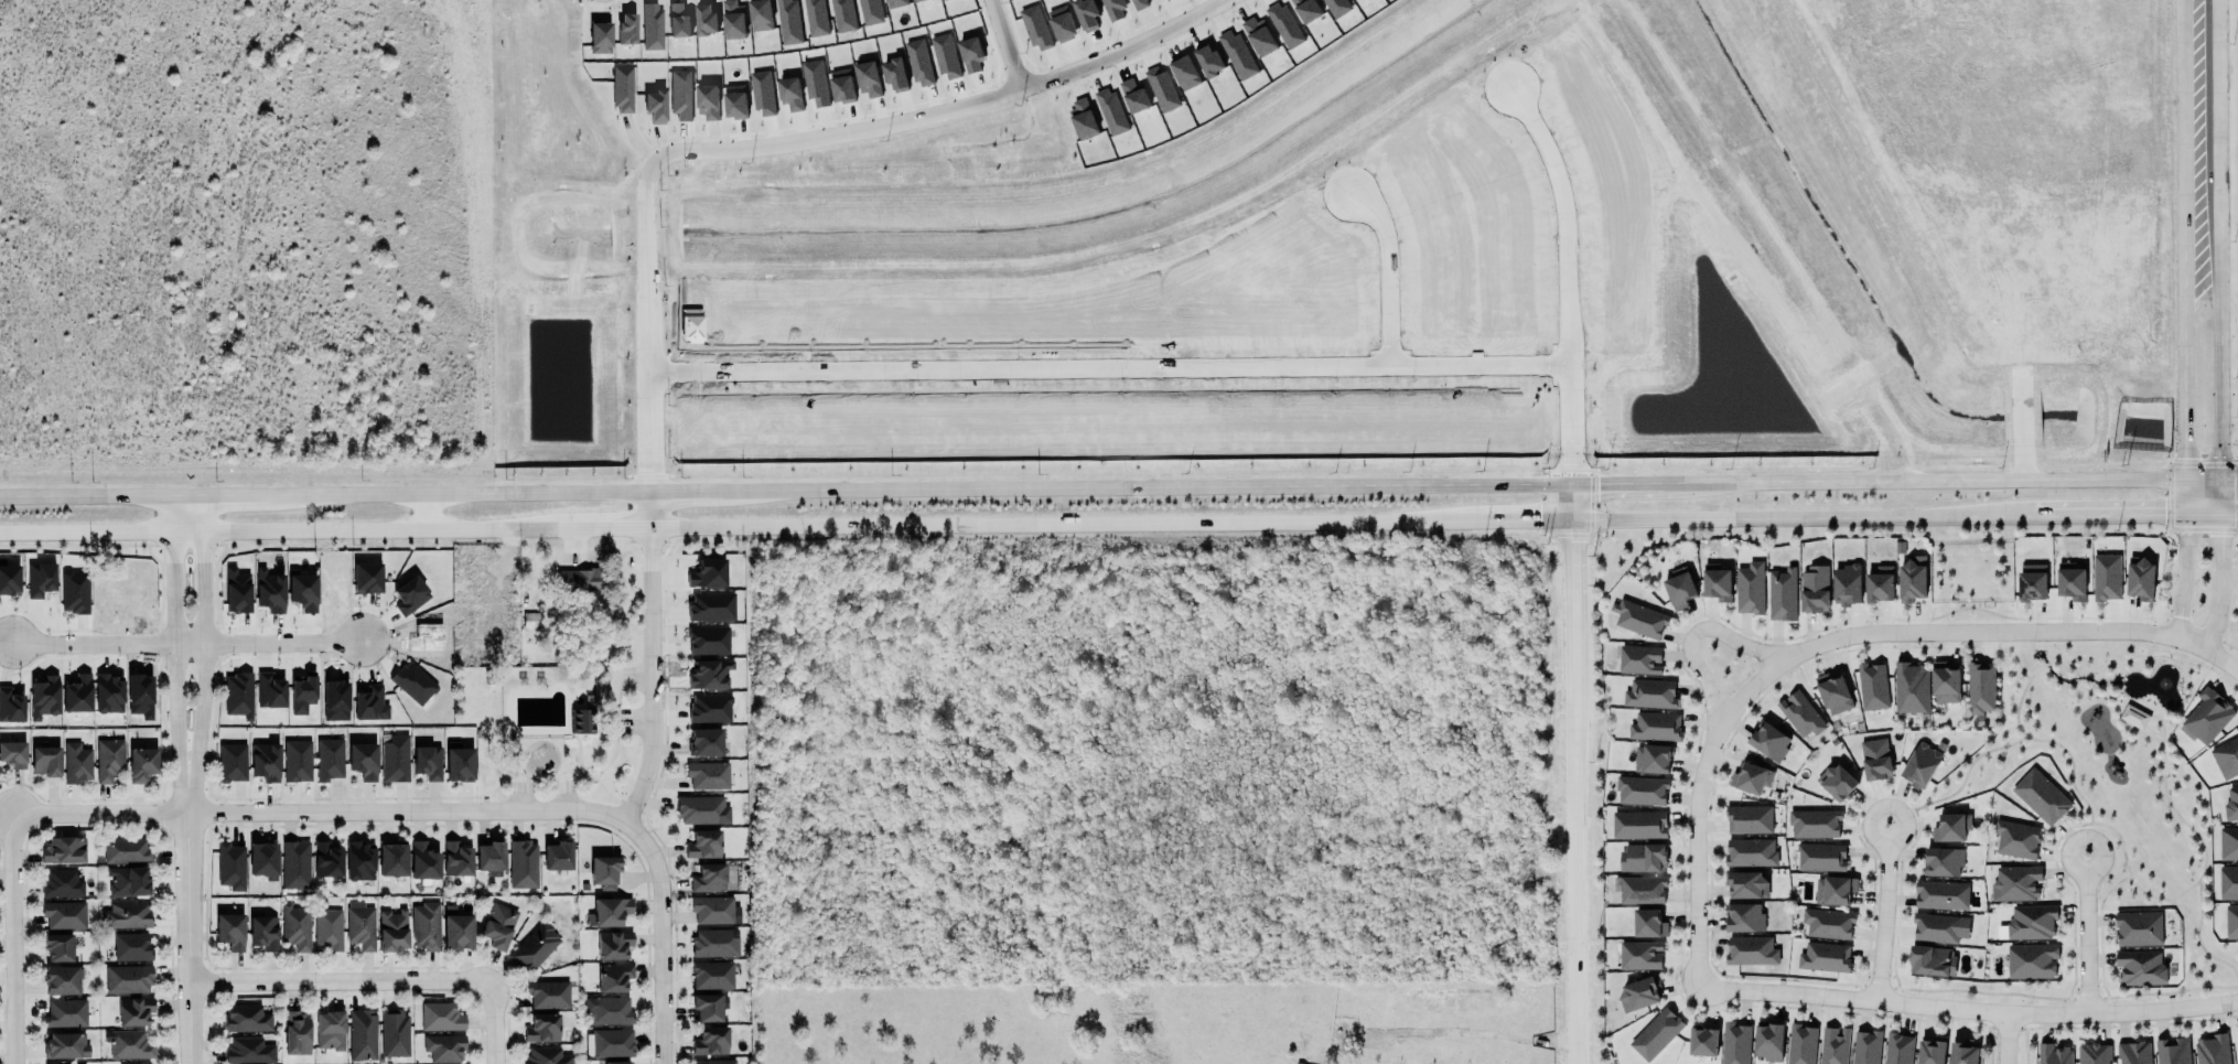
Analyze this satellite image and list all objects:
building: (918, 0)
building: (944, 0)
building: (895, 3)
building: (1140, 4)
building: (1337, 7)
building: (1115, 8)
building: (1306, 10)
building: (870, 12)
building: (761, 14)
building: (1086, 14)
building: (843, 15)
building: (816, 18)
building: (706, 19)
building: (734, 20)
building: (678, 21)
building: (788, 22)
building: (1063, 23)
building: (1285, 25)
building: (652, 26)
building: (627, 29)
building: (1036, 29)
building: (1259, 36)
building: (600, 37)
road: (1001, 45)
building: (971, 54)
building: (1237, 55)
building: (946, 56)
building: (1209, 62)
building: (919, 63)
building: (1185, 73)
building: (895, 75)
building: (868, 79)
building: (815, 83)
building: (842, 85)
building: (623, 89)
building: (1162, 89)
building: (763, 93)
building: (790, 94)
building: (680, 95)
building: (1134, 97)
building: (708, 101)
building: (735, 101)
building: (655, 106)
building: (1111, 111)
building: (1083, 119)
road: (2202, 135)
road: (783, 144)
road: (1382, 267)
road: (1564, 277)
road: (1107, 365)
road: (2184, 372)
road: (2220, 388)
road: (2230, 479)
road: (2204, 480)
road: (1925, 481)
road: (1616, 483)
road: (1145, 486)
road: (688, 490)
road: (462, 491)
road: (85, 493)
road: (184, 493)
road: (236, 493)
road: (2185, 495)
road: (1568, 501)
road: (653, 507)
road: (2204, 512)
road: (2130, 513)
road: (2230, 513)
road: (2055, 514)
road: (1800, 516)
road: (1527, 518)
road: (1069, 523)
road: (604, 526)
road: (2202, 526)
road: (2162, 527)
road: (278, 529)
road: (2185, 573)
building: (2106, 577)
building: (2139, 577)
building: (367, 578)
building: (1912, 579)
building: (9, 580)
building: (41, 580)
building: (579, 580)
building: (2030, 581)
building: (2072, 581)
road: (2221, 581)
building: (1717, 582)
building: (1877, 582)
building: (1847, 585)
building: (1678, 588)
building: (1750, 589)
building: (303, 590)
building: (1815, 590)
building: (270, 591)
building: (74, 592)
building: (477, 592)
building: (1780, 592)
building: (410, 595)
building: (512, 612)
building: (1638, 617)
road: (2032, 617)
building: (531, 621)
road: (2193, 627)
road: (1995, 630)
road: (1691, 634)
road: (1990, 638)
road: (87, 643)
road: (187, 643)
road: (280, 643)
road: (2227, 645)
road: (1966, 646)
fountain: (2036, 652)
road: (173, 654)
road: (202, 654)
road: (2164, 654)
road: (2081, 657)
building: (1638, 658)
road: (2045, 664)
road: (2236, 670)
building: (709, 674)
road: (656, 676)
parking lot: (637, 677)
road: (2225, 679)
building: (413, 683)
building: (1945, 683)
road: (2105, 683)
fountain: (2162, 683)
building: (1871, 685)
road: (2024, 686)
building: (1909, 687)
building: (1981, 688)
building: (75, 690)
building: (270, 691)
building: (1649, 692)
building: (109, 694)
building: (302, 694)
building: (1833, 694)
building: (238, 696)
building: (44, 698)
building: (369, 703)
building: (11, 706)
road: (2118, 711)
building: (1800, 714)
building: (2133, 714)
building: (2206, 714)
building: (581, 721)
road: (2110, 721)
parking lot: (637, 722)
building: (1654, 726)
road: (2124, 729)
road: (2138, 730)
building: (1768, 740)
building: (702, 743)
building: (12, 753)
road: (580, 754)
road: (2067, 754)
building: (1651, 755)
building: (1874, 757)
building: (2226, 757)
building: (45, 759)
building: (108, 759)
building: (392, 759)
building: (330, 760)
building: (294, 761)
building: (361, 761)
building: (76, 762)
building: (141, 762)
building: (229, 762)
building: (262, 762)
building: (428, 763)
building: (460, 763)
building: (1919, 764)
building: (706, 774)
building: (1751, 776)
park: (2112, 776)
building: (1836, 781)
road: (1960, 783)
road: (495, 784)
building: (1640, 789)
road: (1570, 791)
road: (613, 794)
road: (1877, 794)
building: (2040, 795)
parking lot: (520, 796)
parking lot: (563, 796)
road: (466, 797)
road: (304, 798)
building: (2231, 803)
building: (700, 809)
road: (320, 814)
road: (1696, 816)
building: (1747, 818)
building: (1812, 823)
building: (1637, 824)
building: (1950, 826)
road: (2063, 830)
building: (2016, 838)
building: (2228, 843)
building: (703, 845)
building: (63, 848)
building: (125, 849)
building: (1751, 852)
road: (2204, 852)
building: (491, 856)
building: (1819, 856)
building: (392, 857)
building: (558, 857)
building: (262, 858)
building: (326, 858)
building: (1643, 858)
building: (359, 859)
building: (423, 859)
building: (456, 860)
building: (1941, 860)
building: (295, 863)
building: (521, 863)
building: (230, 864)
building: (604, 872)
building: (707, 879)
building: (128, 880)
building: (2015, 882)
building: (61, 883)
building: (1745, 883)
building: (2228, 883)
building: (1833, 889)
building: (1642, 890)
road: (2107, 892)
building: (1941, 893)
building: (607, 910)
building: (711, 910)
road: (1884, 912)
building: (64, 914)
building: (126, 914)
building: (1744, 917)
building: (2231, 920)
building: (2031, 921)
road: (2100, 921)
building: (1647, 922)
building: (1827, 922)
building: (497, 924)
building: (361, 925)
building: (294, 926)
building: (427, 926)
building: (1936, 926)
building: (456, 927)
building: (2137, 927)
building: (229, 929)
building: (326, 931)
building: (394, 931)
building: (263, 932)
building: (2001, 933)
road: (2086, 934)
road: (665, 936)
road: (13, 938)
road: (191, 938)
road: (2196, 941)
building: (714, 942)
building: (612, 943)
building: (57, 945)
building: (130, 946)
building: (536, 947)
building: (1750, 949)
building: (1638, 954)
building: (1825, 957)
building: (1930, 959)
building: (2031, 960)
building: (2139, 966)
building: (711, 974)
building: (613, 976)
building: (128, 978)
building: (62, 979)
road: (344, 984)
building: (1638, 992)
building: (548, 993)
building: (707, 1006)
road: (1967, 1007)
building: (609, 1010)
building: (135, 1011)
building: (66, 1013)
building: (441, 1017)
building: (247, 1019)
road: (496, 1024)
building: (542, 1029)
building: (330, 1030)
building: (295, 1032)
building: (394, 1032)
building: (1656, 1034)
building: (363, 1035)
road: (2003, 1038)
building: (709, 1040)
building: (1701, 1040)
building: (1767, 1040)
building: (611, 1042)
building: (1734, 1043)
building: (1800, 1043)
building: (66, 1045)
building: (129, 1045)
building: (1834, 1045)
building: (1865, 1046)
building: (444, 1047)
building: (1896, 1049)
building: (2212, 1049)
building: (248, 1051)
building: (2171, 1051)
building: (1930, 1052)
building: (1962, 1052)
building: (2132, 1052)
building: (2052, 1053)
building: (2092, 1053)
building: (547, 1056)
building: (616, 1062)
building: (715, 1062)
building: (137, 1063)

